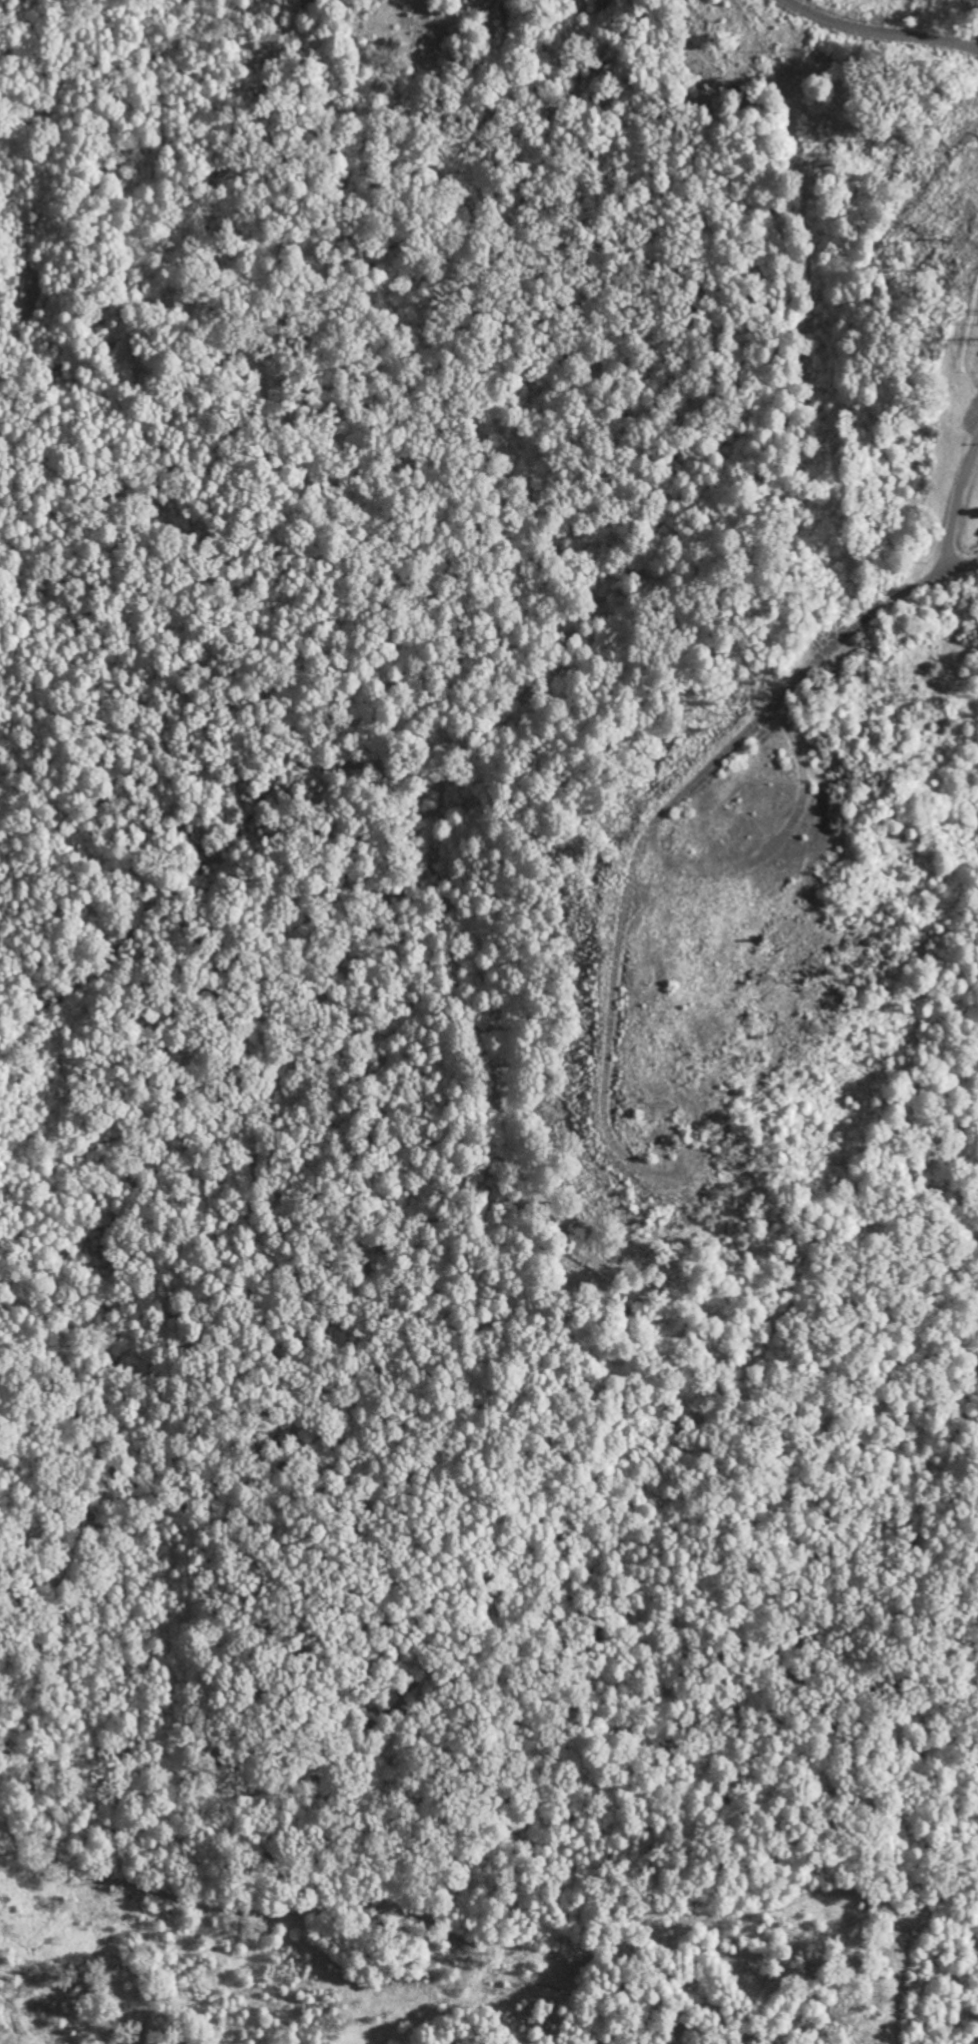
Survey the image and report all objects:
road: (879, 33)
road: (957, 502)
road: (940, 573)

